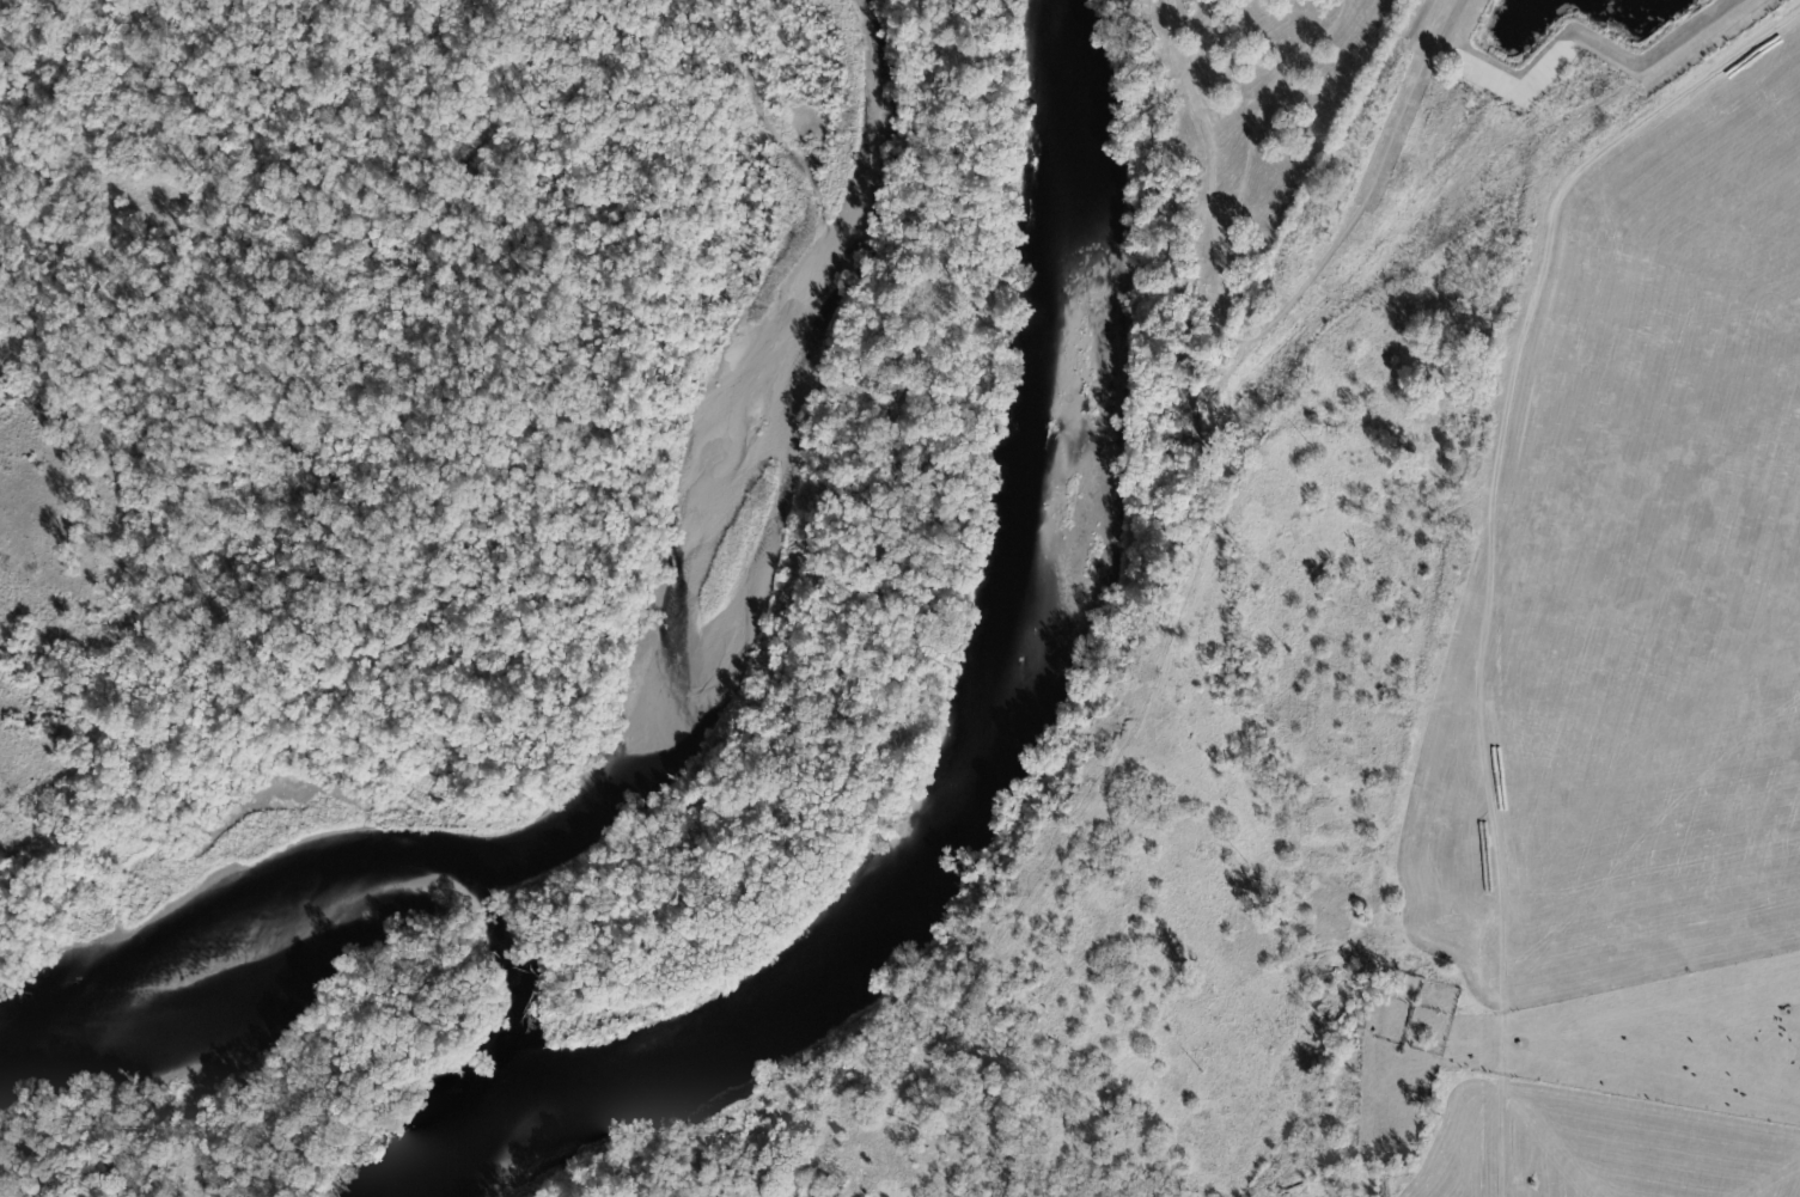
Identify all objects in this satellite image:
road: (1488, 542)
river: (978, 756)
building: (1440, 982)

